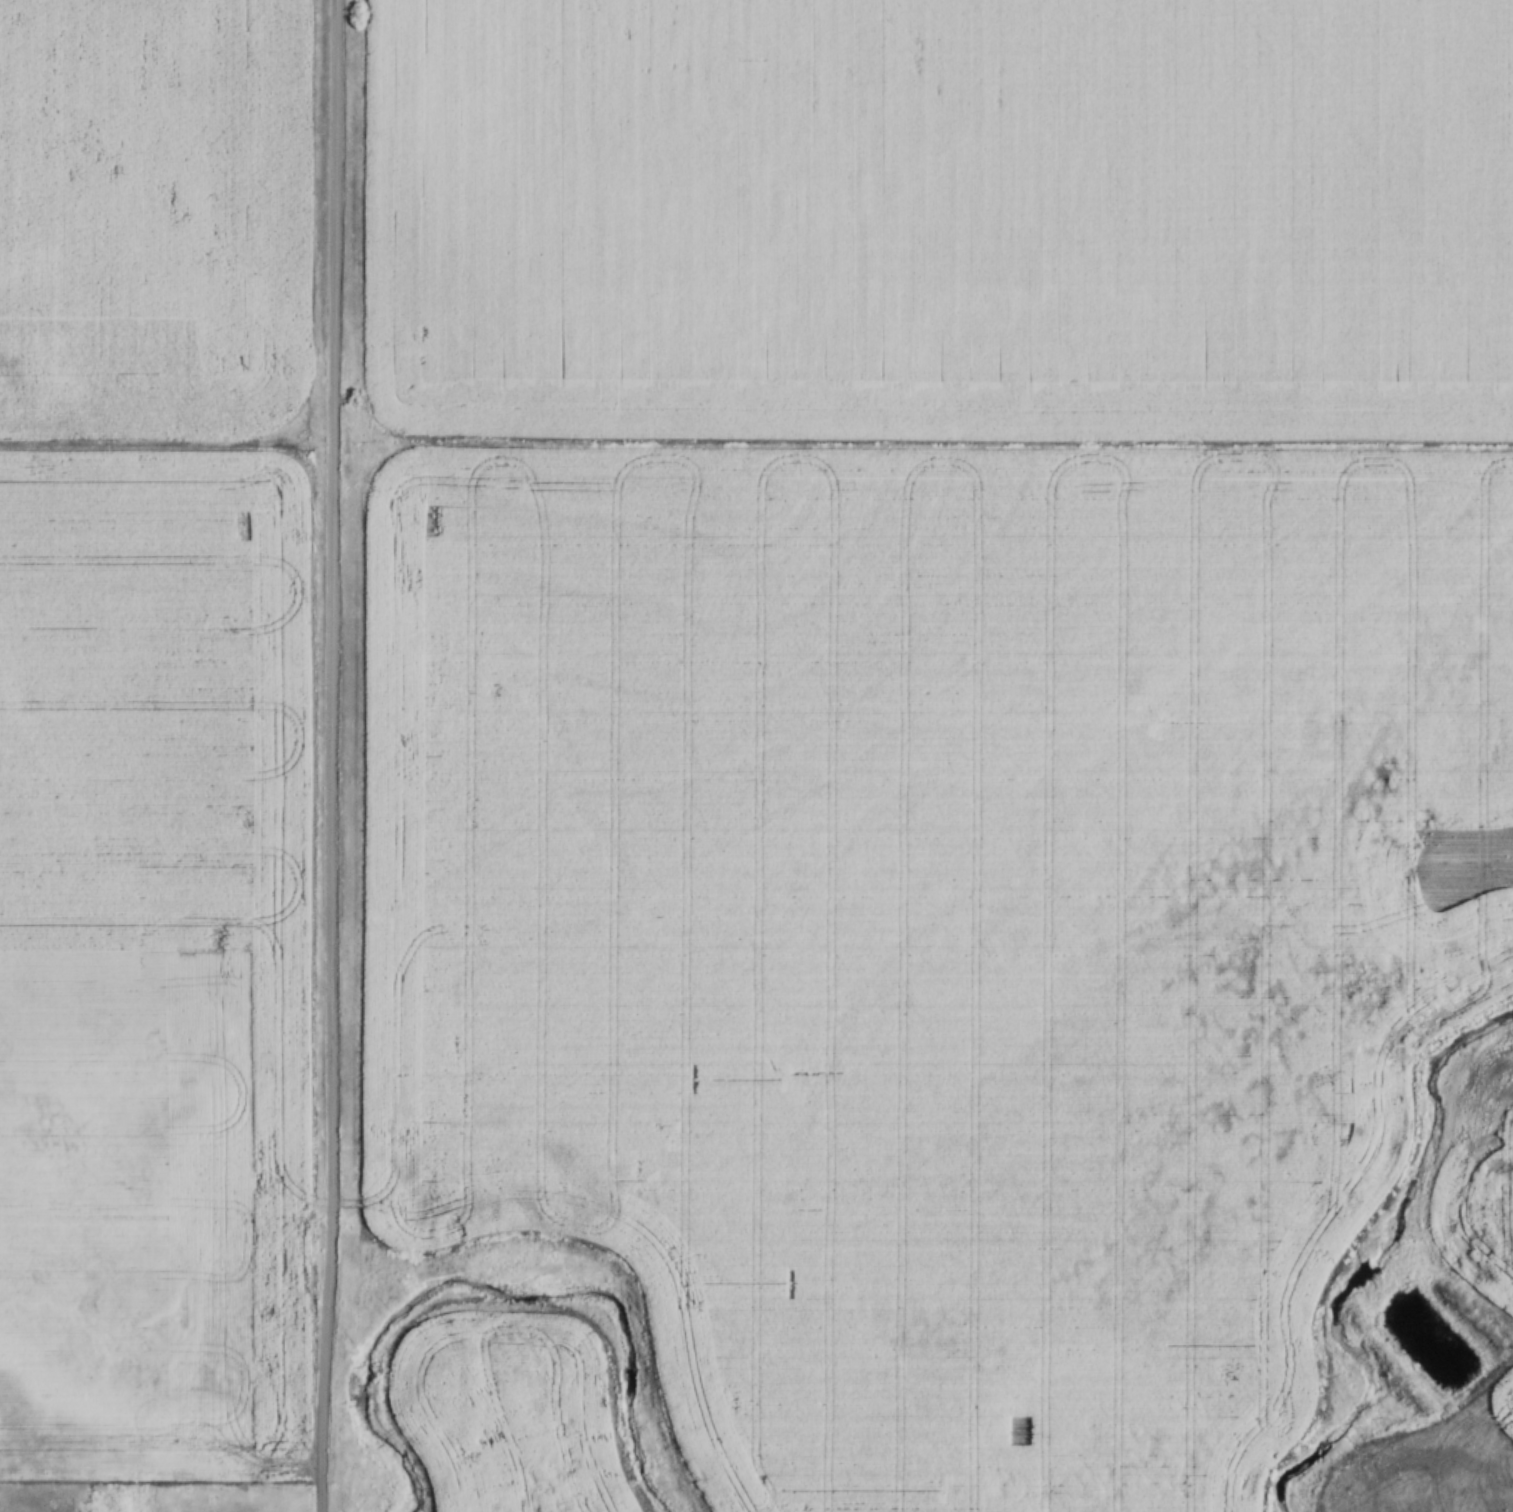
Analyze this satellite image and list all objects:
crop: (153, 216)
road: (336, 756)
crop: (154, 963)

